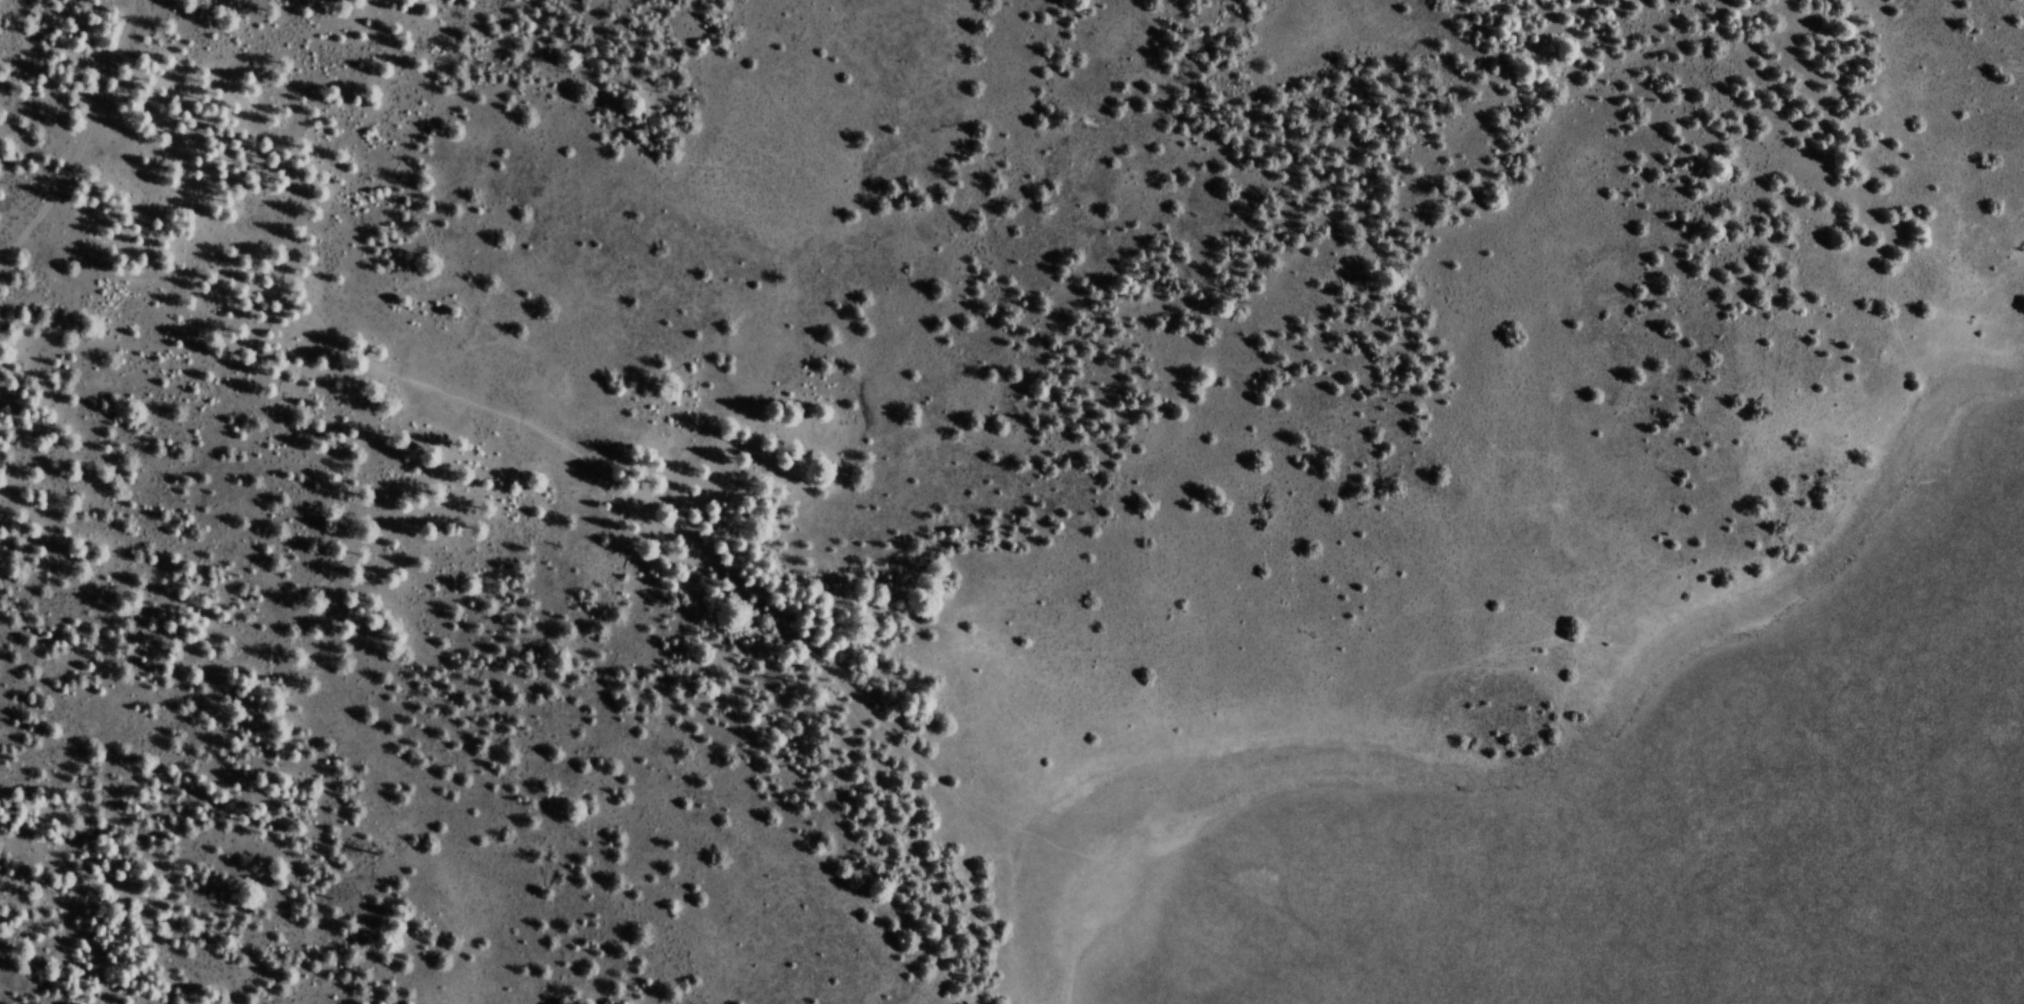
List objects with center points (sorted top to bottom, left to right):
road: (75, 125)
road: (476, 396)

